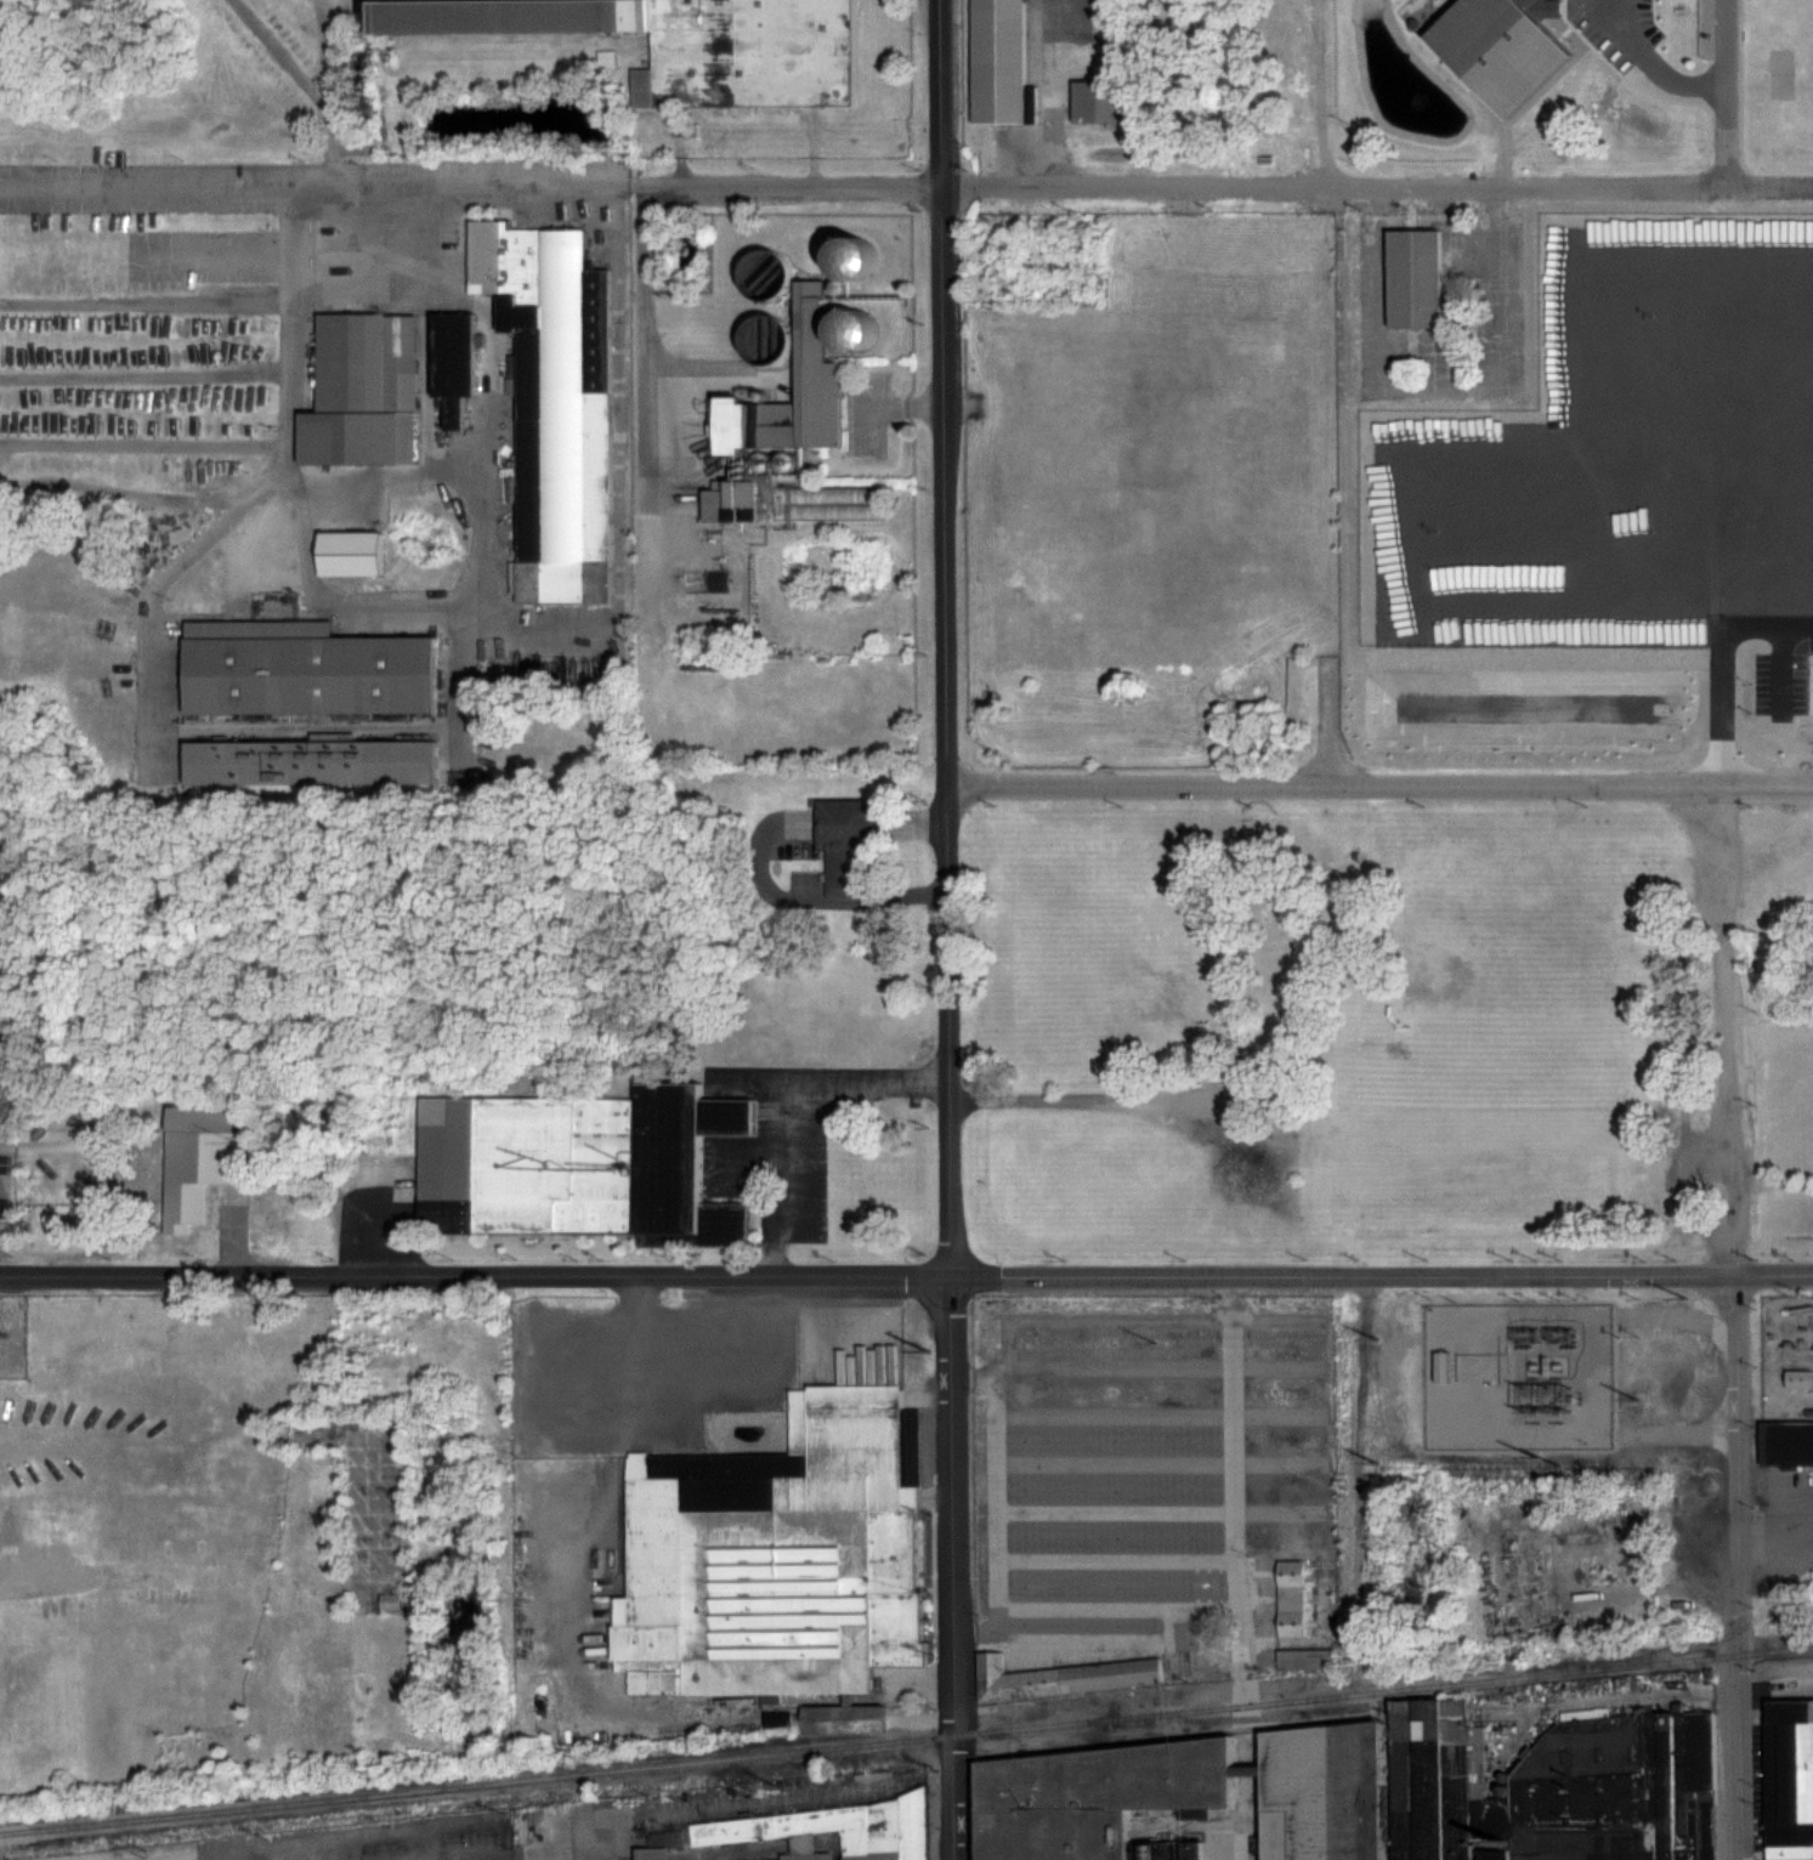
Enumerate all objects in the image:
building: (681, 41)
building: (1498, 45)
building: (997, 62)
road: (1650, 64)
road: (305, 84)
road: (1047, 93)
building: (1094, 98)
road: (1223, 187)
road: (317, 188)
building: (856, 259)
building: (765, 274)
building: (1410, 276)
building: (856, 331)
building: (771, 341)
road: (641, 345)
building: (451, 361)
building: (361, 390)
road: (1729, 391)
road: (493, 392)
building: (551, 402)
building: (786, 436)
road: (272, 488)
building: (346, 550)
road: (393, 602)
building: (301, 667)
building: (307, 760)
road: (1378, 784)
building: (844, 843)
road: (945, 929)
road: (1722, 1030)
road: (811, 1088)
building: (193, 1157)
building: (574, 1163)
road: (906, 1277)
road: (1095, 1316)
power substation: (11, 1334)
power substation: (1785, 1355)
road: (1106, 1366)
power substation: (1513, 1373)
building: (1800, 1378)
building: (1785, 1441)
building: (772, 1558)
road: (1734, 1567)
building: (1287, 1597)
building: (392, 1601)
road: (1145, 1609)
road: (979, 1627)
building: (1305, 1660)
building: (1056, 1675)
road: (1140, 1706)
building: (839, 1717)
railway: (906, 1737)
building: (1787, 1779)
building: (1551, 1788)
building: (1320, 1792)
building: (1090, 1799)
building: (849, 1813)
building: (650, 1853)
road: (472, 1854)

